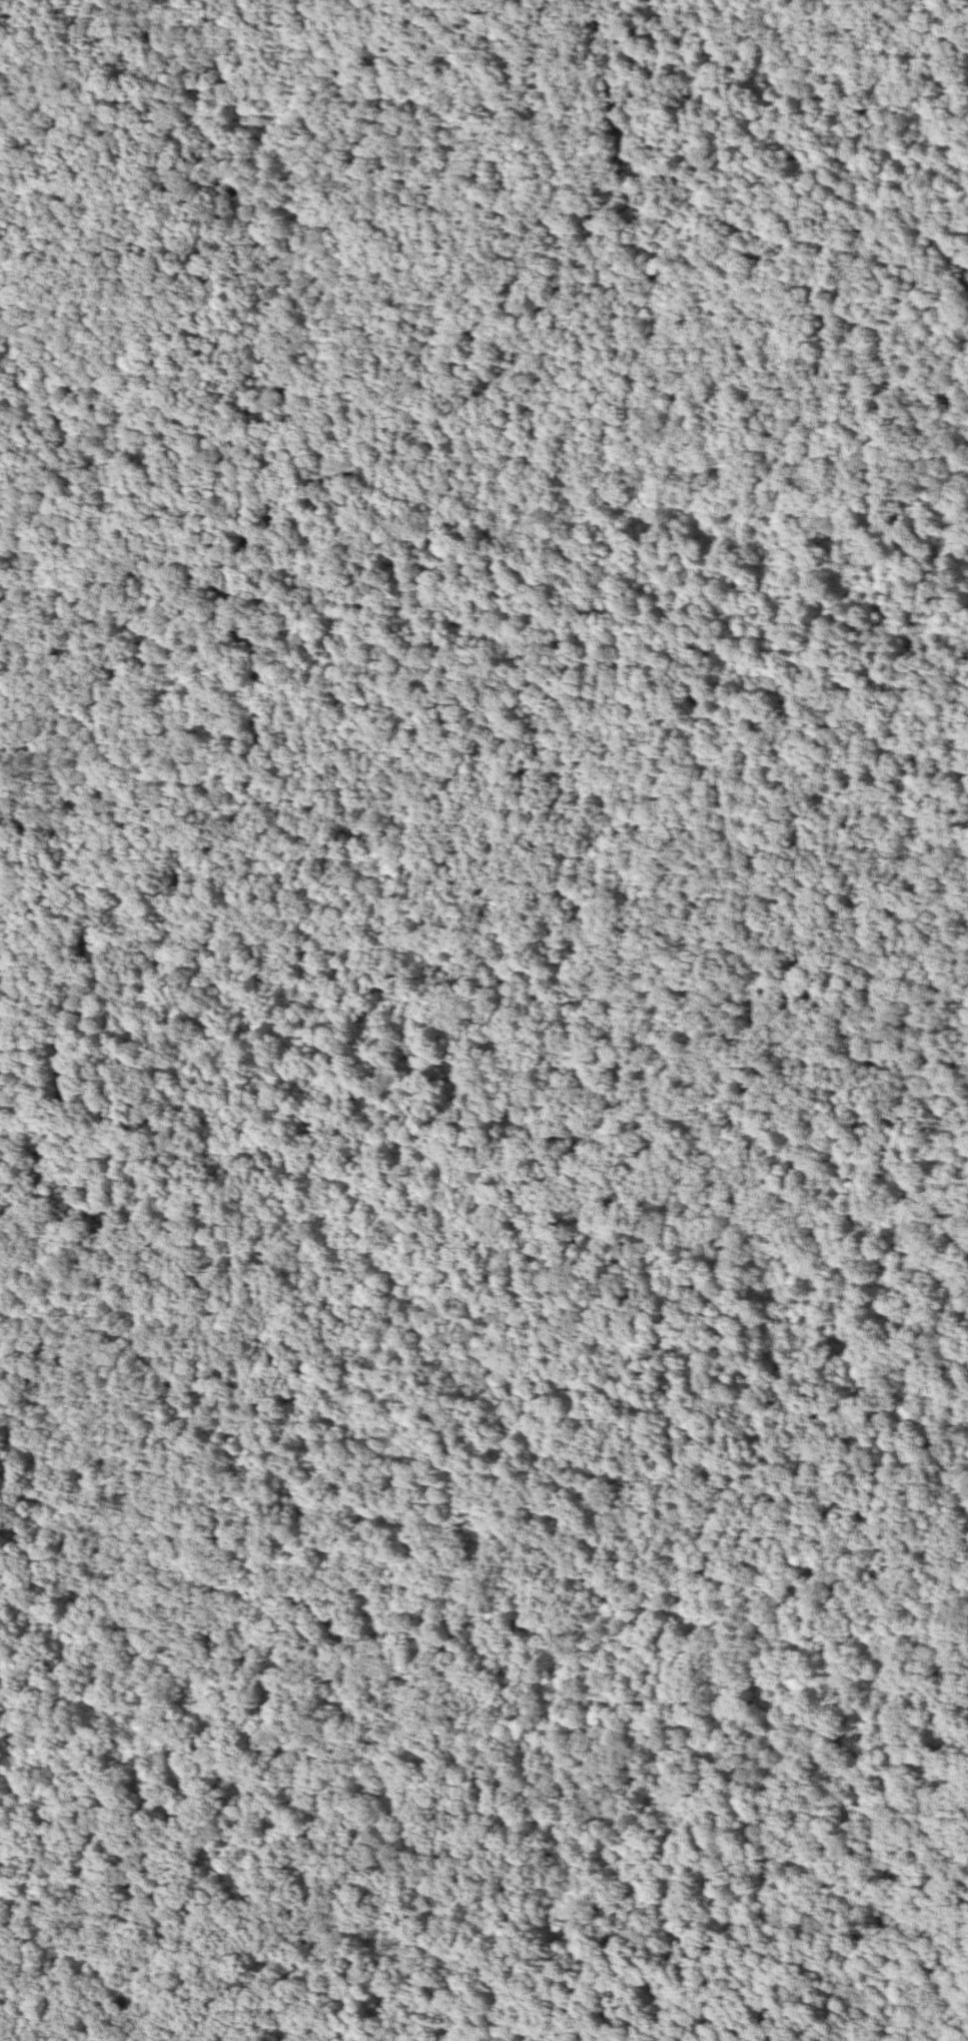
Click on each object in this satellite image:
road: (238, 564)

